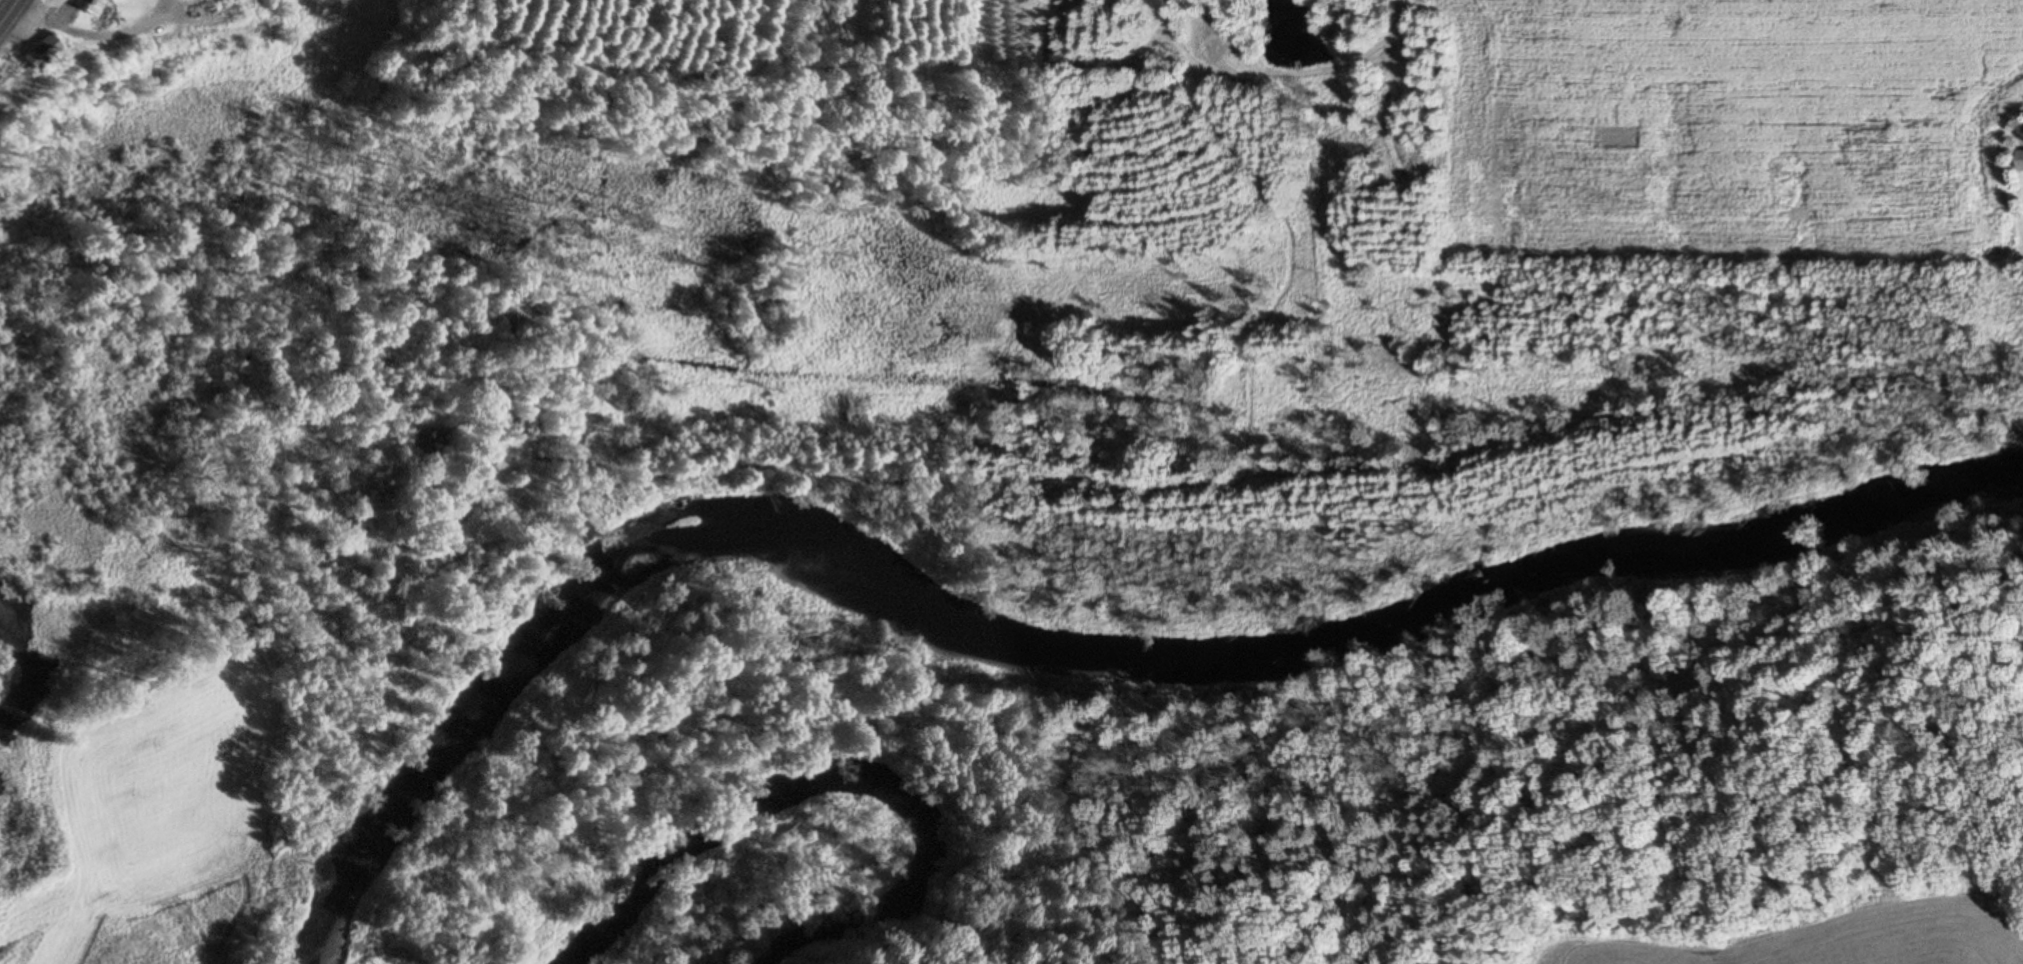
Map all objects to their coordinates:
building: (86, 6)
road: (8, 12)
building: (36, 52)
building: (2020, 161)
river: (1061, 646)

